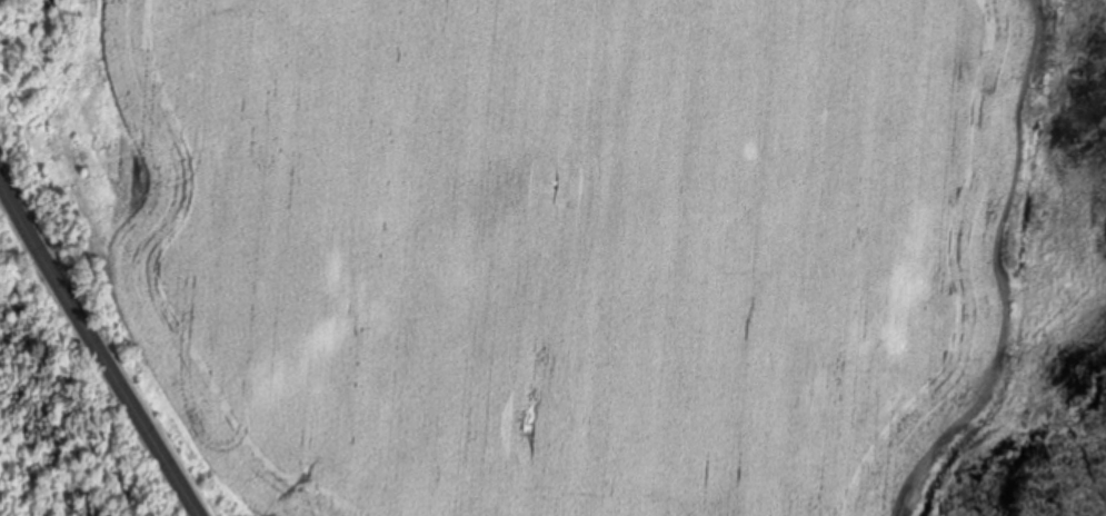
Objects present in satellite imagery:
road: (99, 346)

